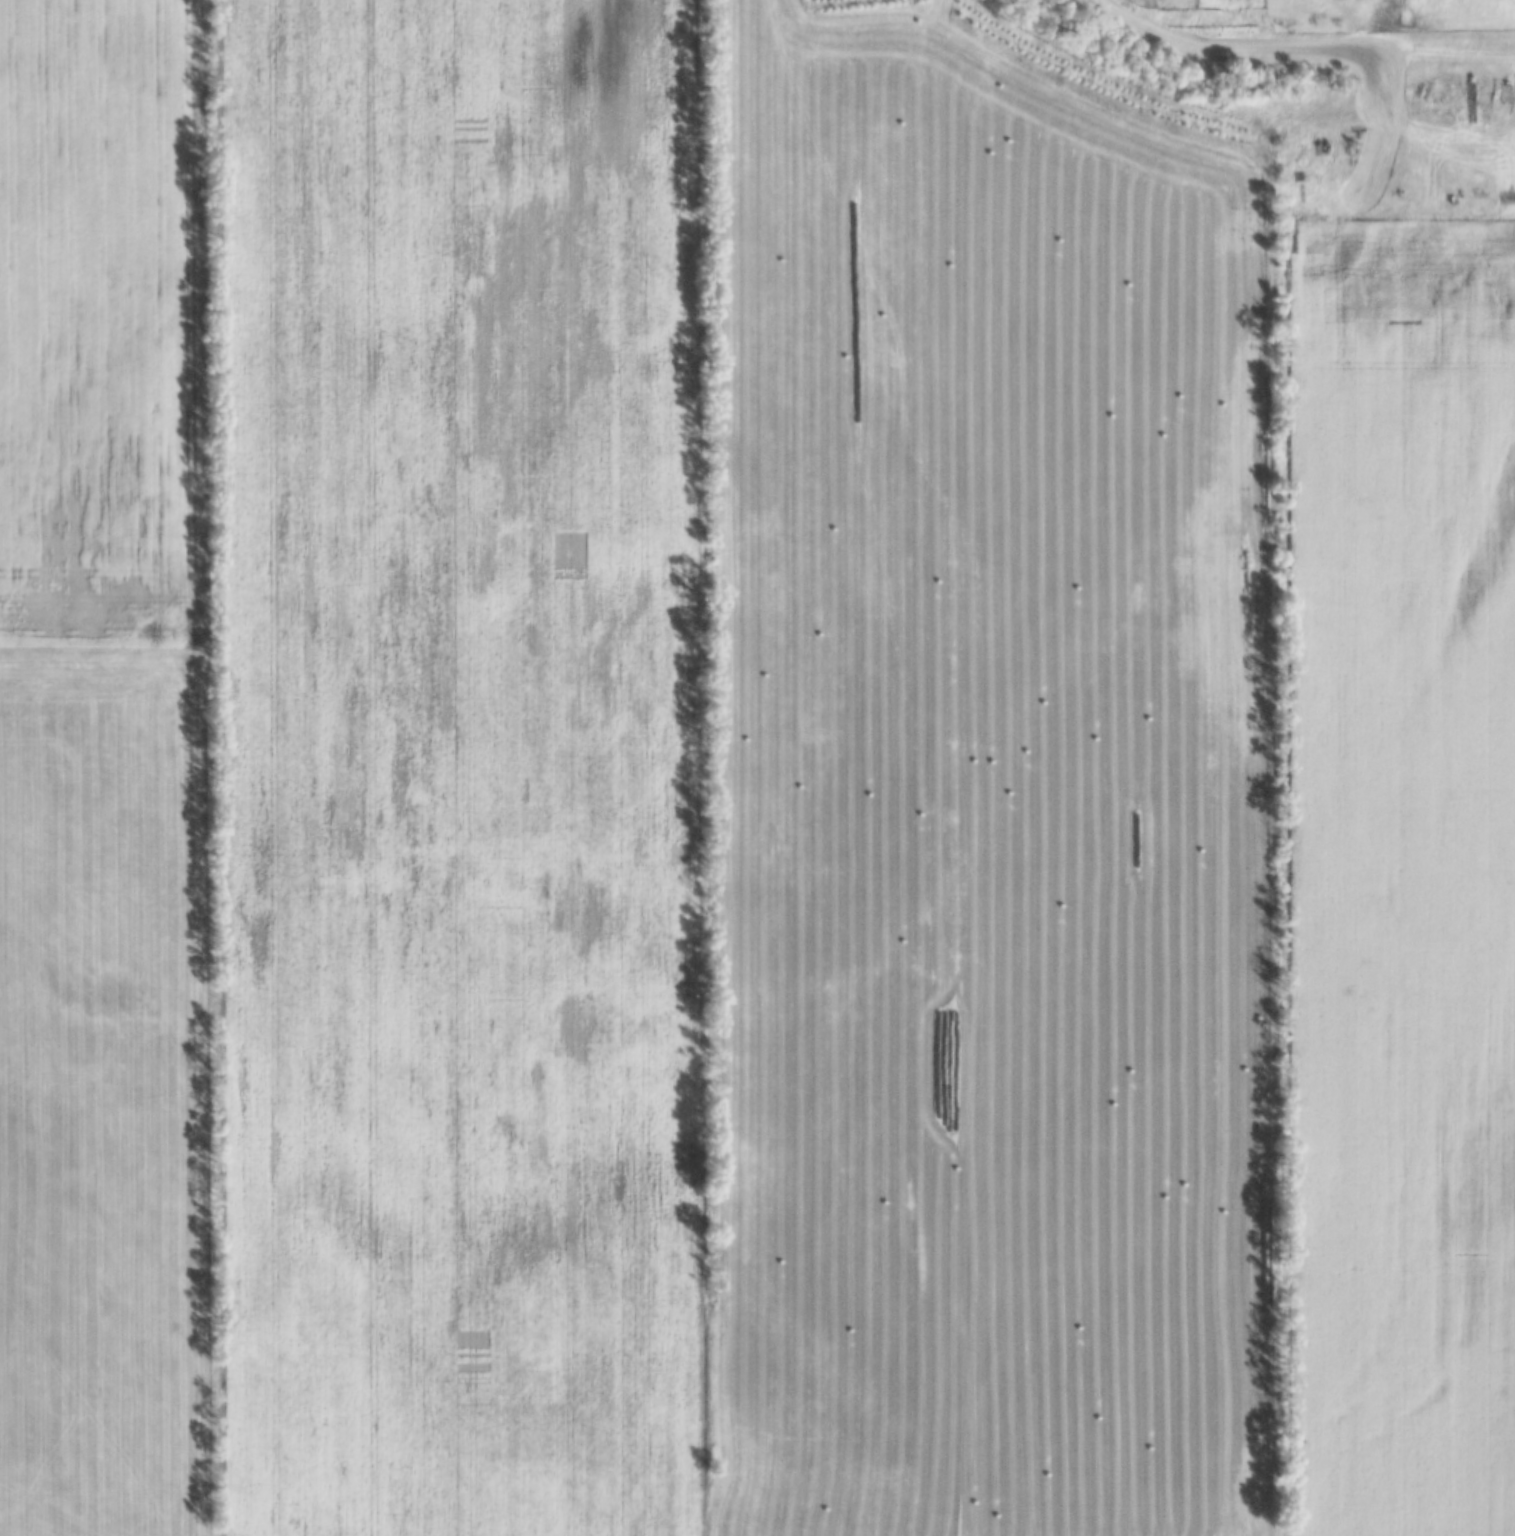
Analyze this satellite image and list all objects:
road: (1264, 48)

